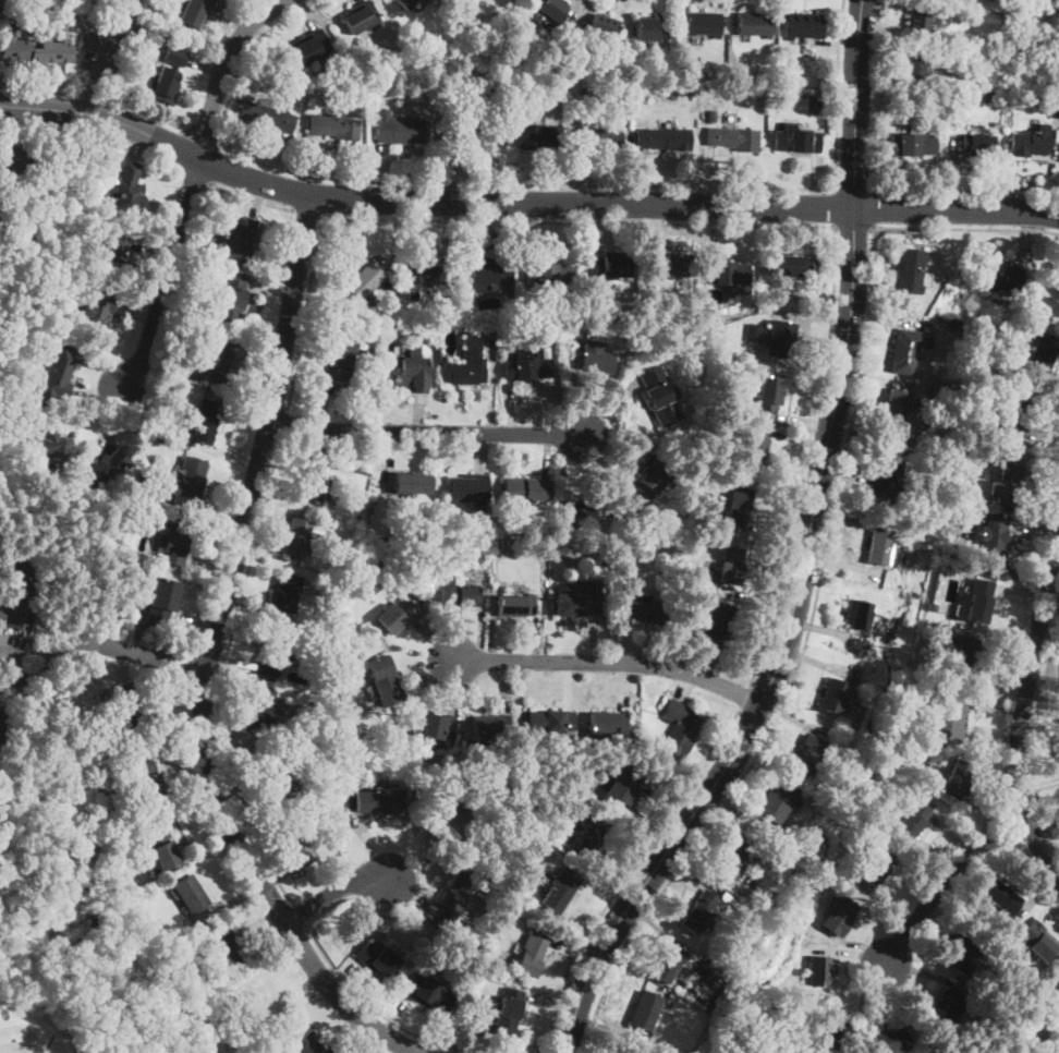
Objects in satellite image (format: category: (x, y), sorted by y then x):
building: (1, 1)
building: (80, 1)
building: (468, 2)
building: (405, 3)
building: (550, 10)
building: (196, 11)
building: (362, 16)
building: (922, 21)
building: (704, 24)
building: (755, 24)
building: (804, 26)
building: (606, 29)
building: (647, 29)
building: (985, 43)
building: (95, 44)
building: (309, 47)
building: (37, 48)
road: (108, 56)
building: (175, 56)
building: (551, 62)
building: (914, 66)
building: (429, 69)
building: (457, 69)
building: (562, 75)
building: (452, 83)
building: (166, 84)
building: (351, 87)
building: (584, 88)
building: (559, 94)
road: (838, 94)
building: (938, 97)
building: (988, 97)
building: (476, 99)
building: (824, 99)
road: (857, 105)
building: (1055, 109)
road: (153, 114)
building: (711, 114)
road: (102, 116)
building: (267, 117)
building: (996, 122)
building: (334, 125)
building: (399, 129)
building: (465, 131)
building: (533, 135)
road: (202, 137)
building: (664, 138)
building: (737, 138)
building: (599, 140)
building: (795, 140)
building: (1030, 143)
building: (912, 145)
building: (978, 145)
building: (16, 166)
road: (191, 183)
road: (523, 184)
road: (854, 190)
road: (965, 192)
building: (130, 193)
road: (249, 198)
road: (523, 203)
road: (836, 208)
road: (873, 208)
road: (957, 210)
road: (307, 213)
building: (2, 220)
road: (478, 221)
road: (854, 228)
road: (966, 229)
building: (241, 240)
building: (112, 250)
building: (670, 264)
building: (610, 265)
building: (793, 266)
building: (909, 270)
building: (487, 274)
building: (1002, 274)
building: (429, 275)
building: (550, 275)
building: (728, 276)
building: (365, 281)
building: (390, 285)
building: (233, 300)
building: (811, 300)
building: (771, 303)
building: (98, 310)
building: (589, 311)
building: (958, 323)
building: (463, 324)
building: (754, 332)
building: (184, 334)
building: (781, 339)
building: (756, 344)
building: (747, 347)
building: (672, 348)
building: (904, 351)
building: (1043, 352)
building: (218, 359)
building: (338, 360)
building: (596, 361)
building: (467, 363)
building: (528, 366)
building: (197, 372)
building: (60, 373)
building: (412, 374)
building: (368, 387)
building: (769, 395)
building: (660, 396)
building: (21, 397)
building: (898, 408)
building: (1019, 410)
building: (206, 422)
road: (285, 423)
road: (426, 432)
building: (49, 447)
building: (756, 455)
road: (805, 458)
building: (108, 464)
building: (885, 476)
building: (145, 477)
building: (313, 479)
building: (1009, 479)
building: (190, 482)
building: (649, 482)
building: (414, 484)
building: (954, 488)
building: (523, 489)
building: (470, 491)
building: (735, 508)
building: (589, 510)
building: (297, 537)
building: (672, 540)
building: (993, 541)
building: (176, 543)
building: (880, 546)
building: (380, 553)
building: (607, 561)
building: (733, 566)
building: (686, 576)
building: (851, 590)
building: (20, 591)
building: (288, 593)
building: (459, 595)
building: (163, 597)
building: (979, 601)
building: (580, 602)
building: (680, 604)
building: (516, 605)
building: (932, 605)
building: (653, 612)
building: (859, 614)
building: (400, 615)
building: (716, 624)
building: (686, 630)
building: (273, 649)
road: (51, 653)
building: (964, 654)
road: (780, 655)
road: (157, 658)
road: (210, 658)
road: (610, 661)
road: (799, 666)
road: (223, 676)
building: (385, 680)
building: (833, 695)
road: (745, 698)
road: (1021, 706)
building: (129, 707)
building: (0, 710)
building: (257, 713)
building: (1, 717)
building: (553, 719)
building: (605, 721)
building: (952, 724)
building: (679, 726)
building: (427, 727)
building: (491, 729)
road: (1035, 729)
building: (337, 737)
building: (808, 755)
building: (278, 771)
building: (887, 776)
building: (148, 780)
building: (957, 780)
building: (349, 786)
building: (621, 789)
building: (520, 790)
building: (379, 801)
building: (778, 801)
building: (912, 820)
building: (457, 821)
building: (318, 823)
building: (586, 833)
building: (158, 843)
building: (300, 848)
building: (735, 857)
building: (878, 870)
road: (630, 874)
road: (944, 880)
building: (561, 891)
building: (191, 894)
road: (337, 894)
building: (999, 895)
building: (460, 897)
building: (699, 913)
road: (299, 916)
building: (838, 917)
building: (1035, 941)
building: (220, 949)
building: (963, 954)
building: (377, 957)
building: (534, 957)
building: (669, 964)
building: (820, 976)
building: (715, 979)
building: (1057, 981)
building: (430, 994)
building: (257, 996)
building: (944, 1007)
road: (373, 1008)
building: (507, 1010)
building: (646, 1012)
building: (833, 1027)
building: (278, 1037)
building: (302, 1039)
building: (890, 1042)
building: (622, 1050)
building: (831, 1050)
building: (1017, 1051)

